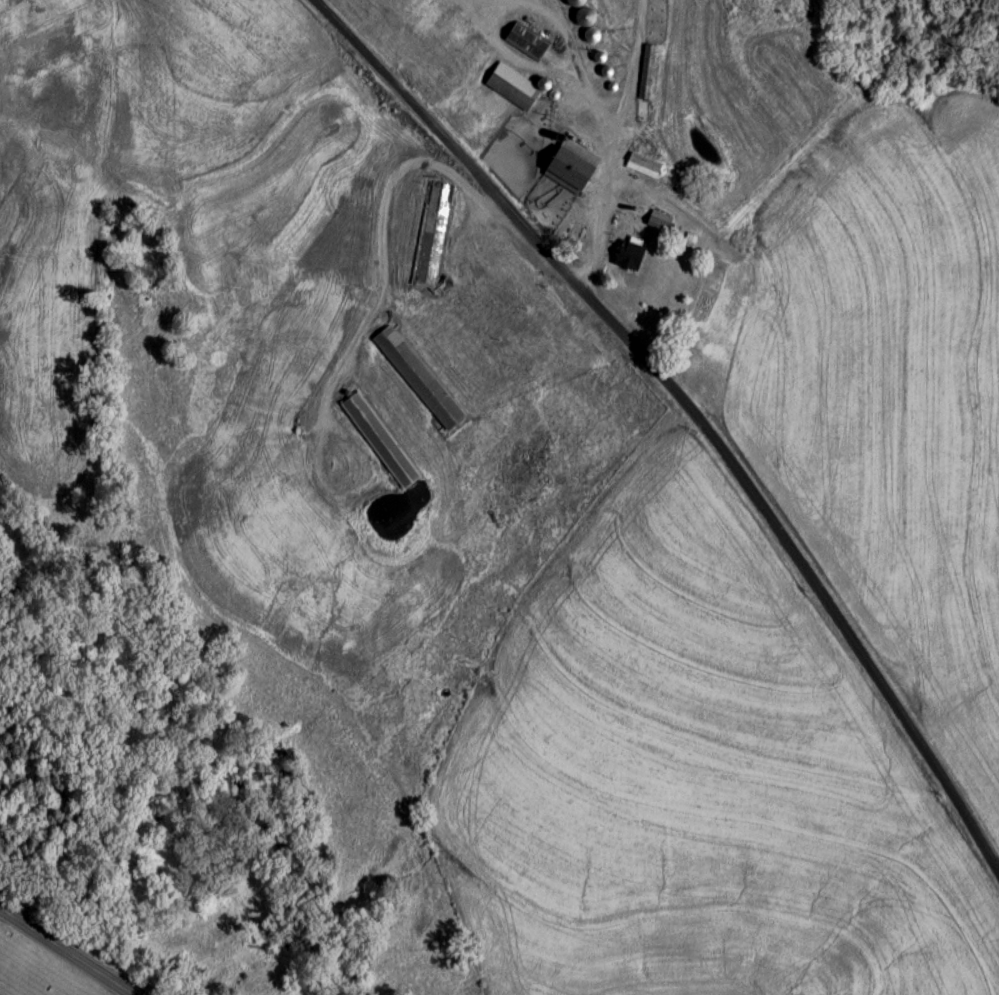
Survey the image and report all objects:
building: (574, 3)
road: (484, 7)
building: (583, 17)
building: (591, 37)
road: (566, 39)
building: (526, 42)
building: (648, 73)
road: (629, 76)
building: (512, 87)
road: (593, 113)
building: (570, 166)
building: (643, 167)
building: (659, 222)
building: (432, 235)
building: (690, 243)
building: (628, 255)
road: (379, 284)
building: (536, 298)
building: (515, 318)
building: (471, 325)
building: (418, 379)
road: (688, 402)
building: (380, 441)
road: (66, 952)

